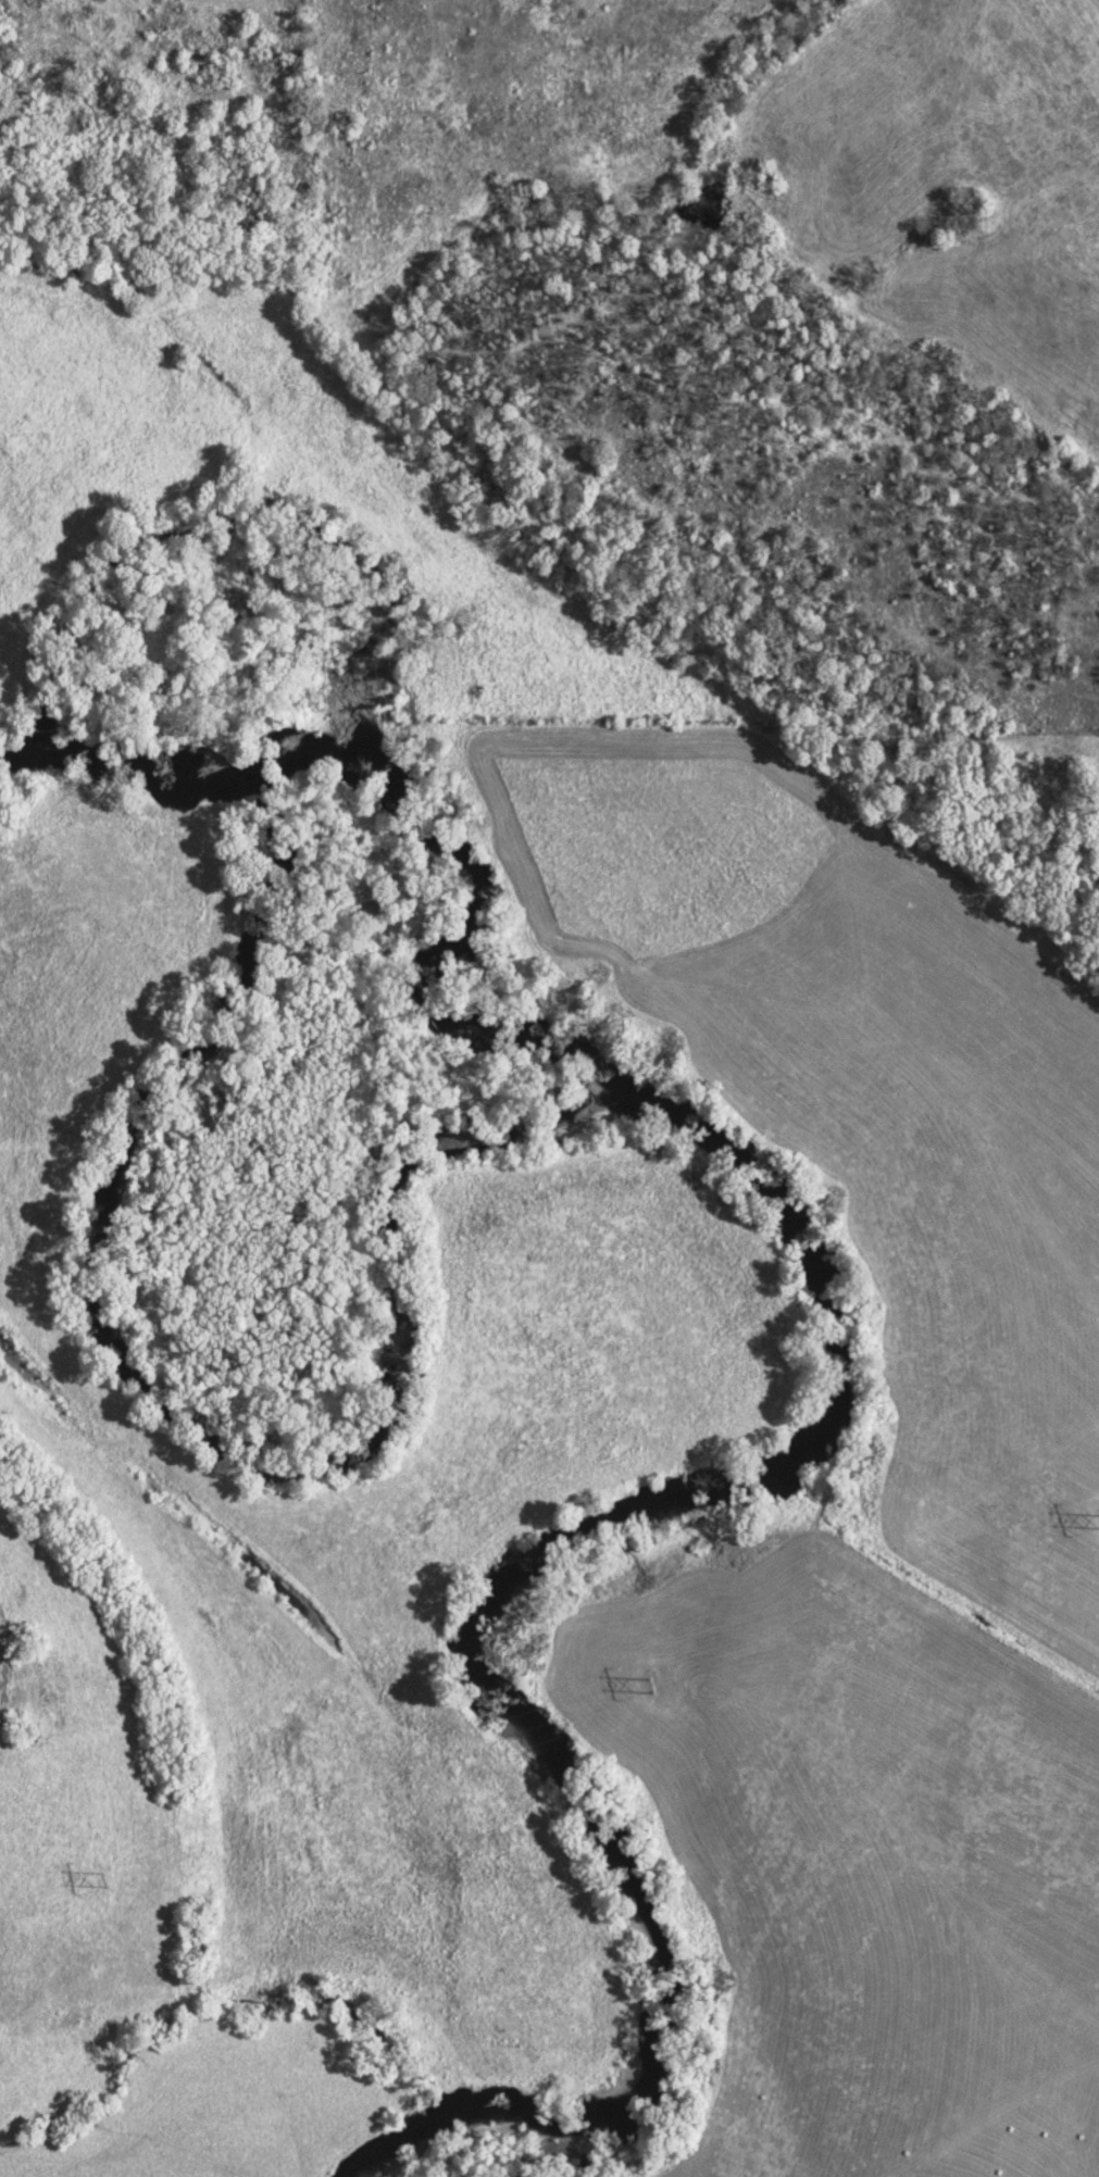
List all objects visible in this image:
river: (801, 1413)
power tower: (647, 1687)
power tower: (99, 1879)

